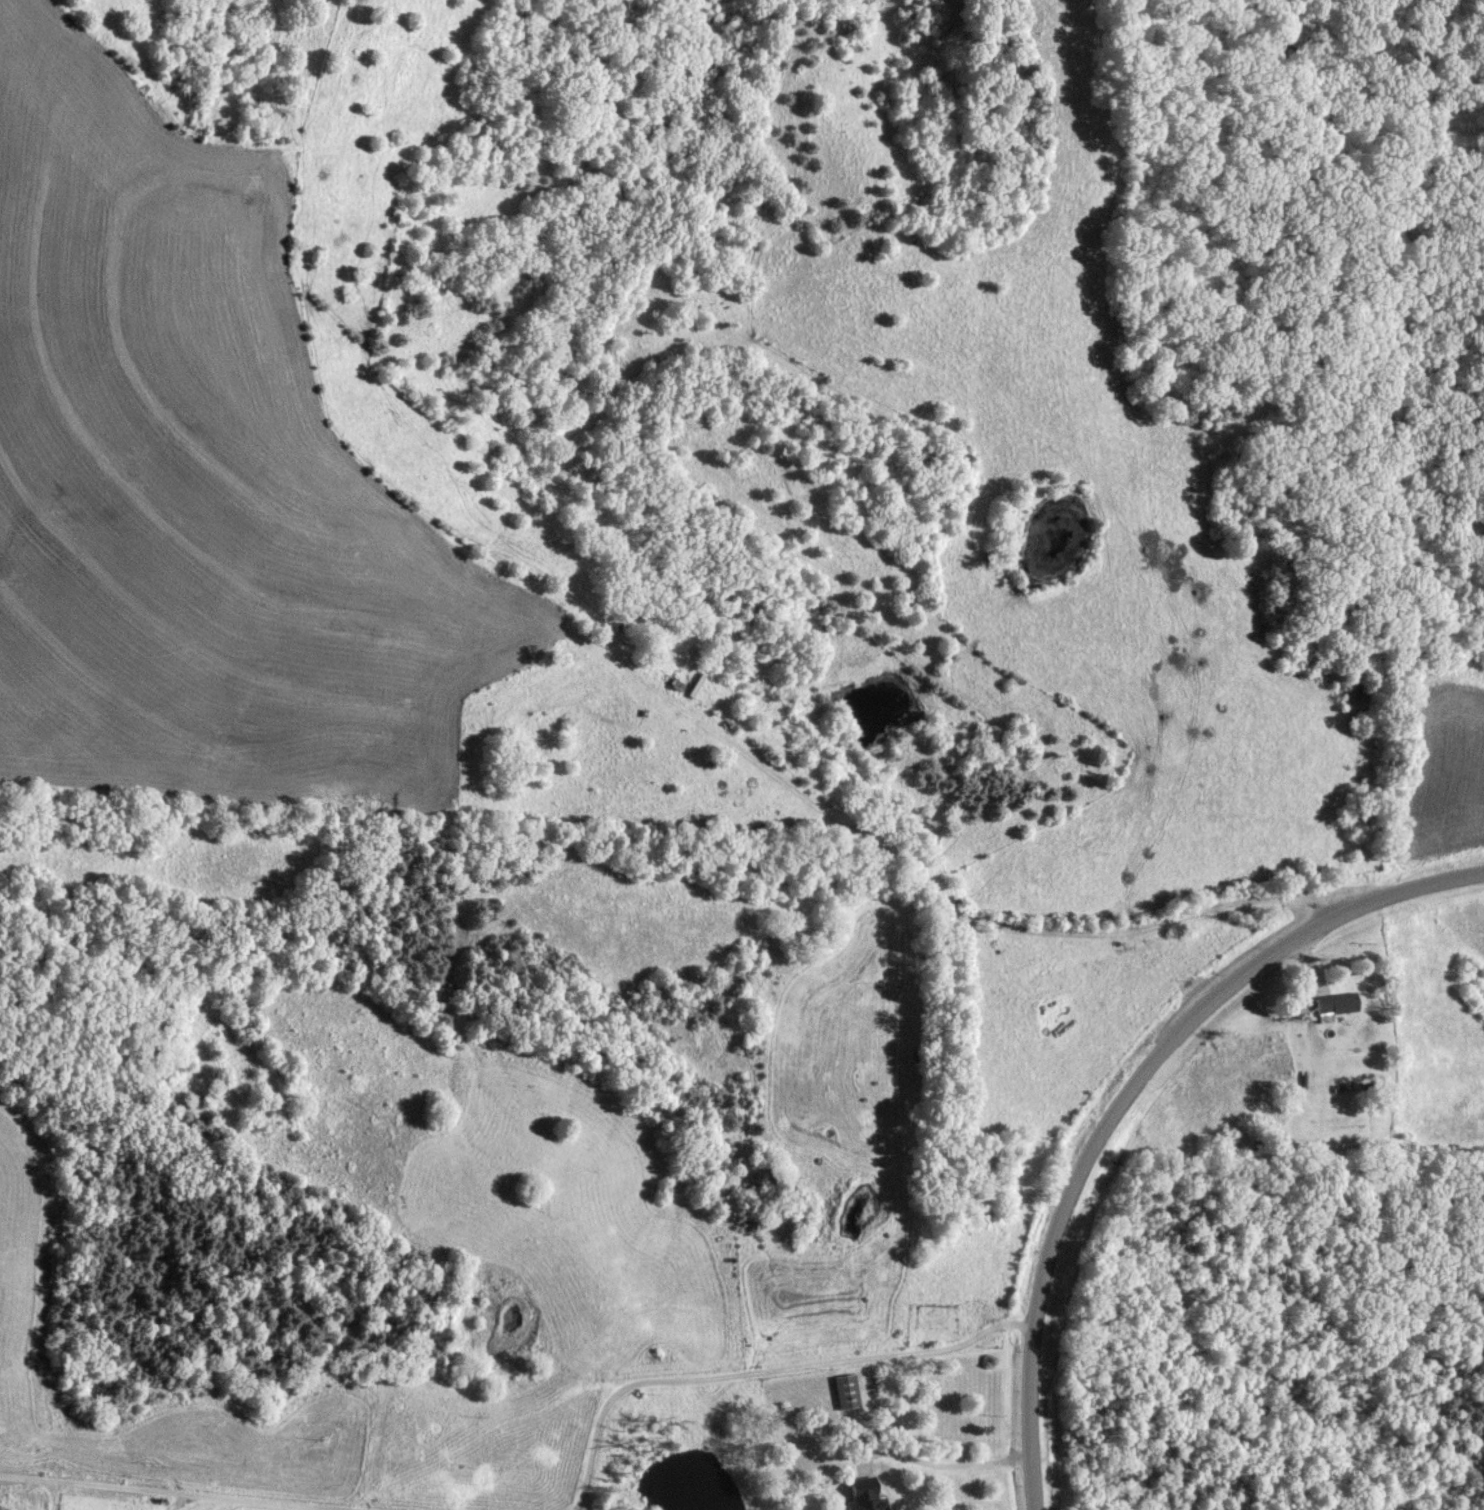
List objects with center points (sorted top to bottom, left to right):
road: (680, 699)
building: (1335, 1005)
road: (1127, 1095)
road: (764, 1372)
building: (847, 1392)
road: (938, 1463)
road: (164, 1493)
building: (864, 1495)

